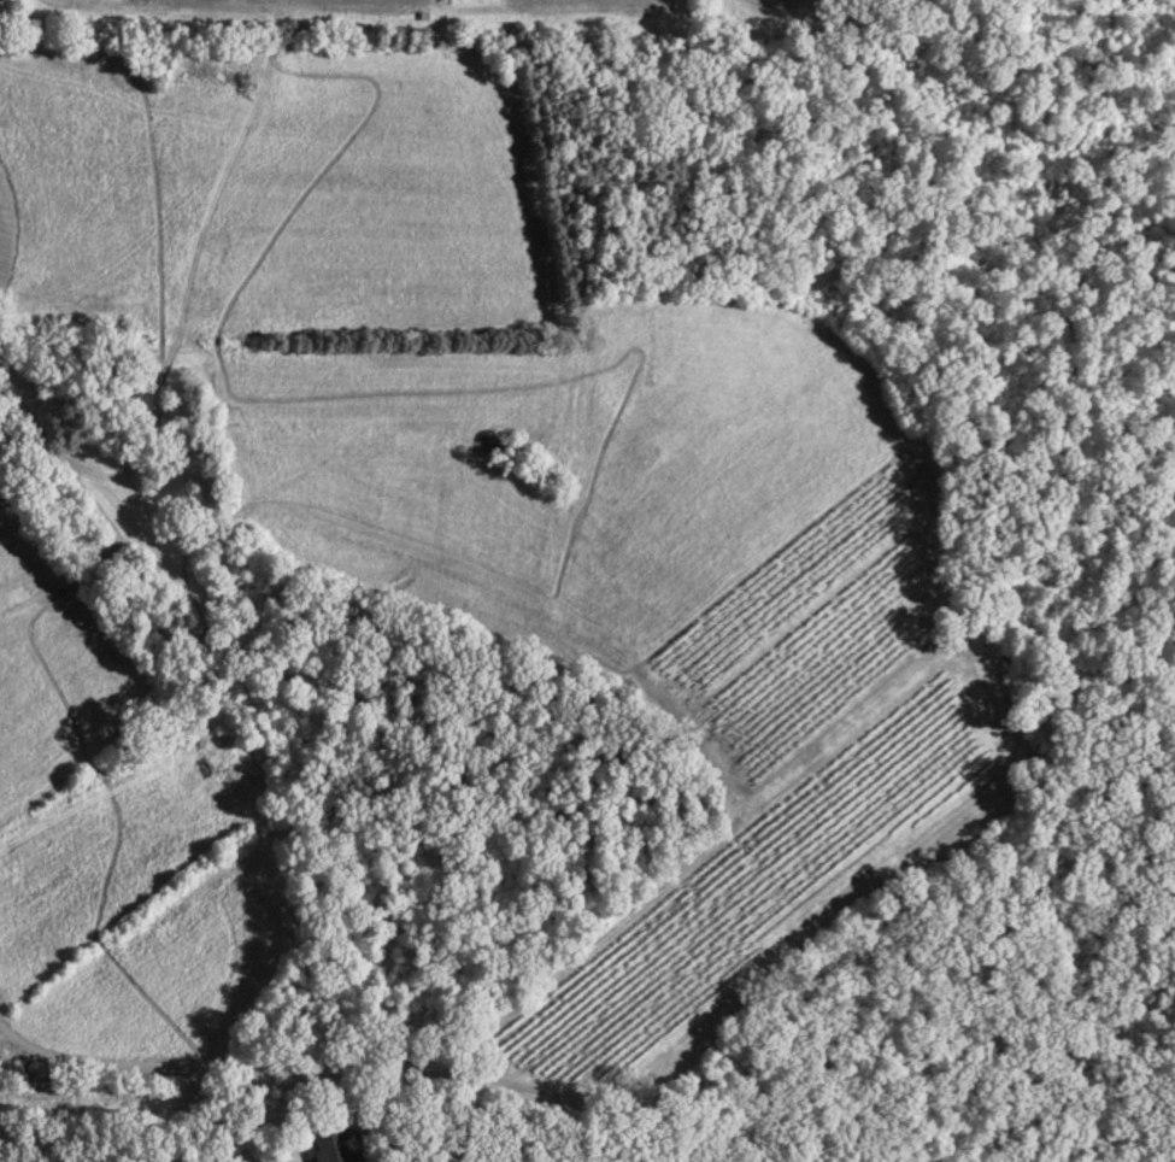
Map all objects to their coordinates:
building: (331, 1148)

